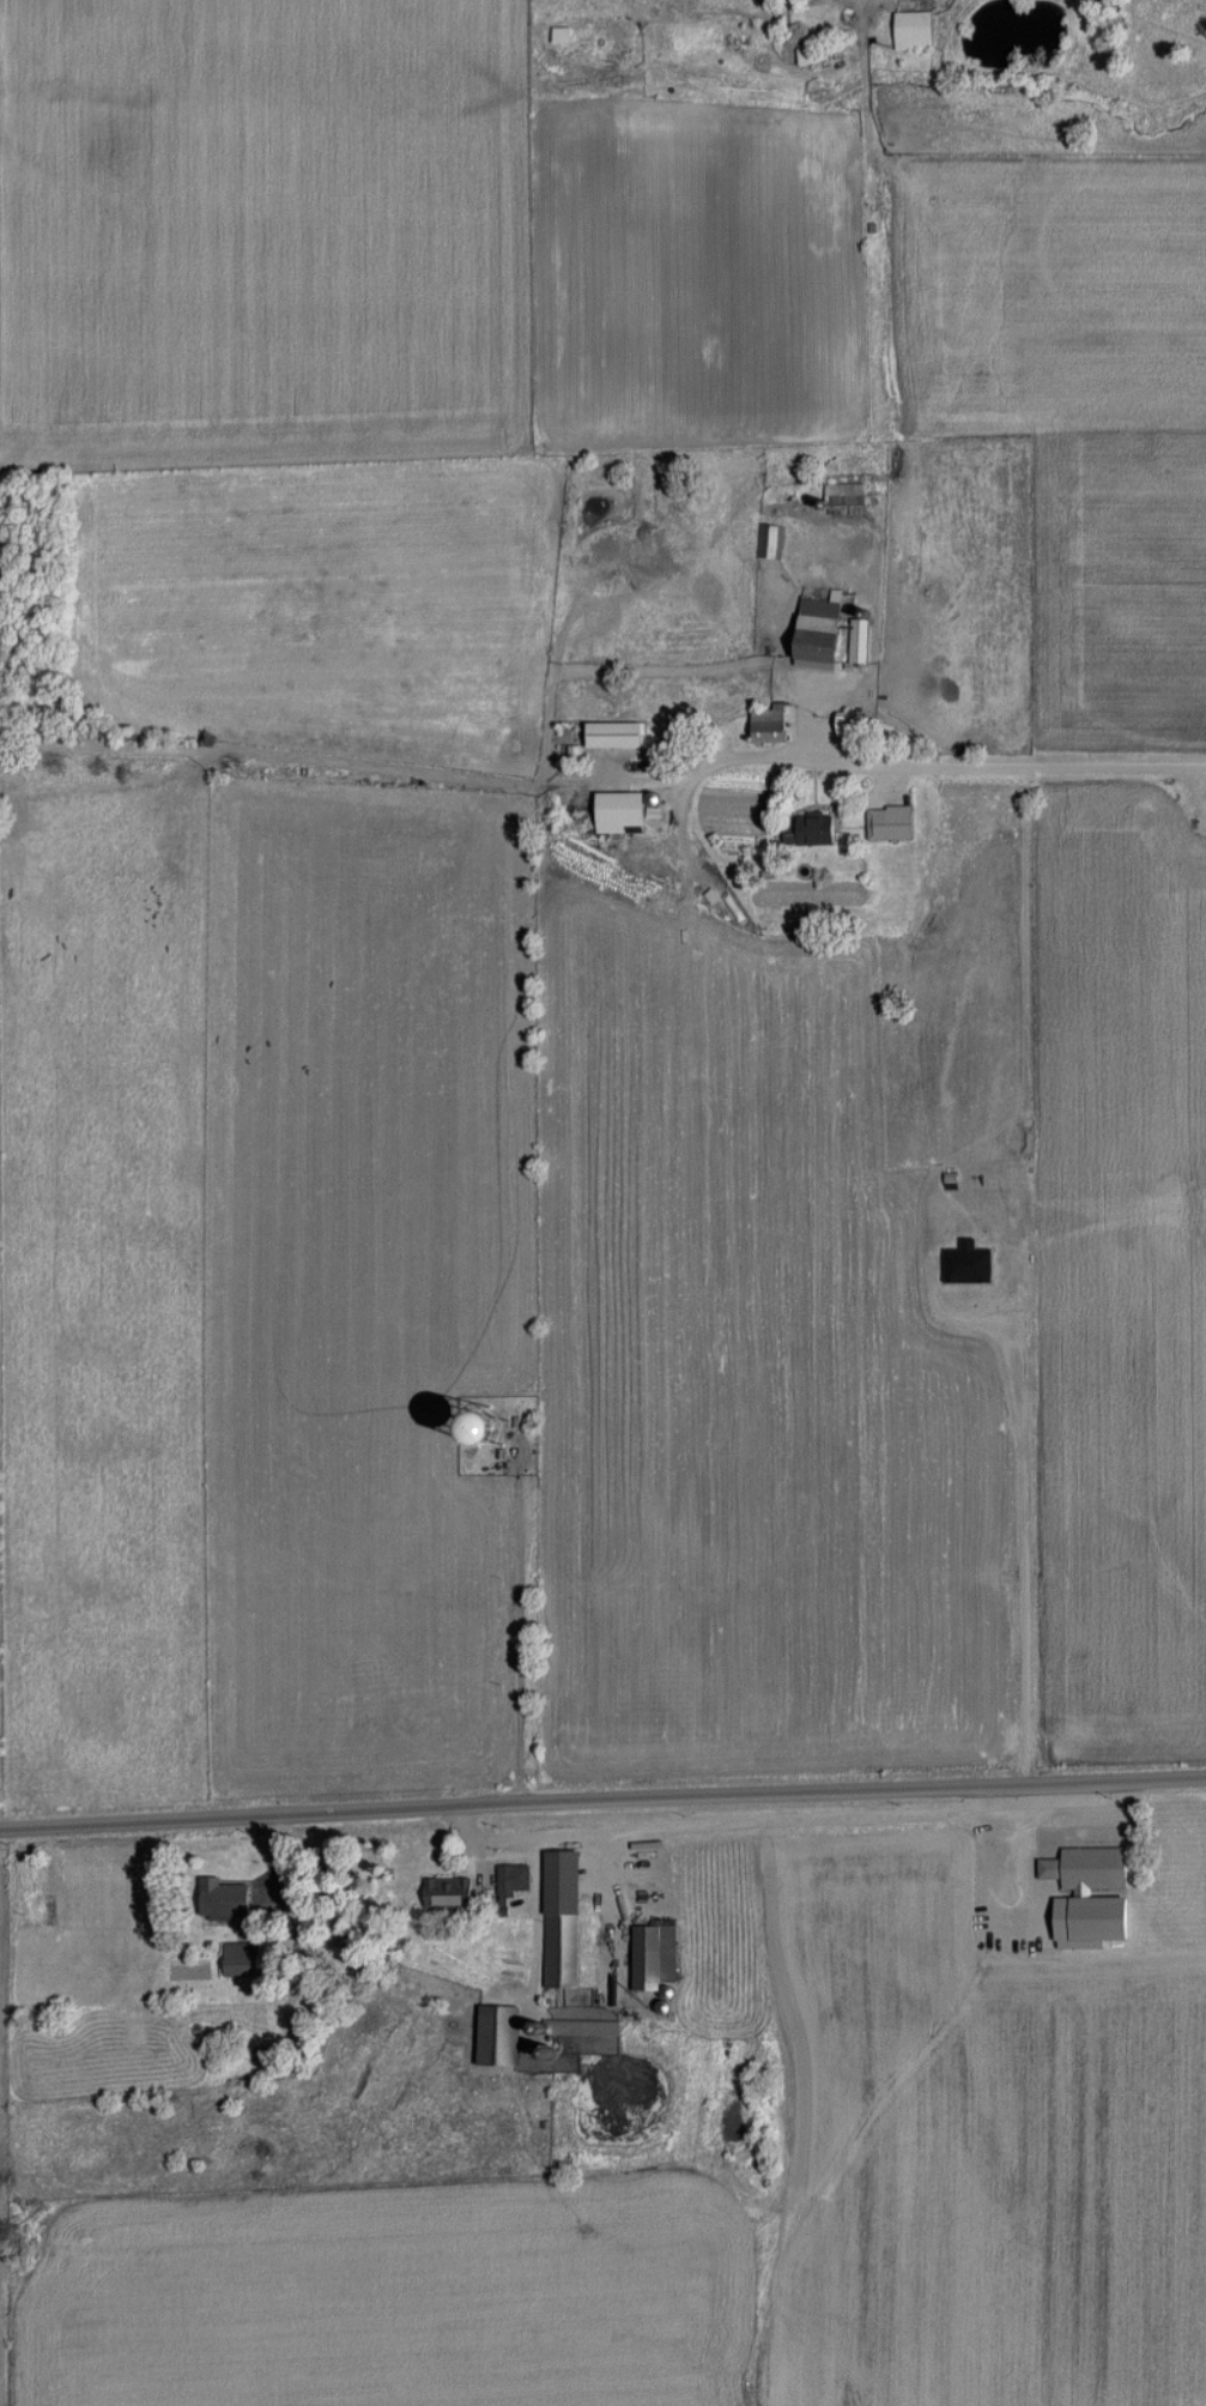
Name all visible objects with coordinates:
road: (869, 1)
building: (914, 31)
building: (562, 34)
building: (808, 55)
building: (846, 498)
building: (768, 540)
building: (606, 554)
building: (643, 554)
building: (832, 630)
building: (853, 723)
building: (771, 725)
building: (616, 735)
road: (911, 761)
building: (893, 823)
building: (820, 828)
road: (602, 1804)
building: (515, 1876)
building: (453, 1891)
building: (226, 1897)
building: (1096, 1905)
building: (49, 1909)
building: (565, 1917)
building: (657, 1955)
building: (246, 1958)
building: (502, 2035)

